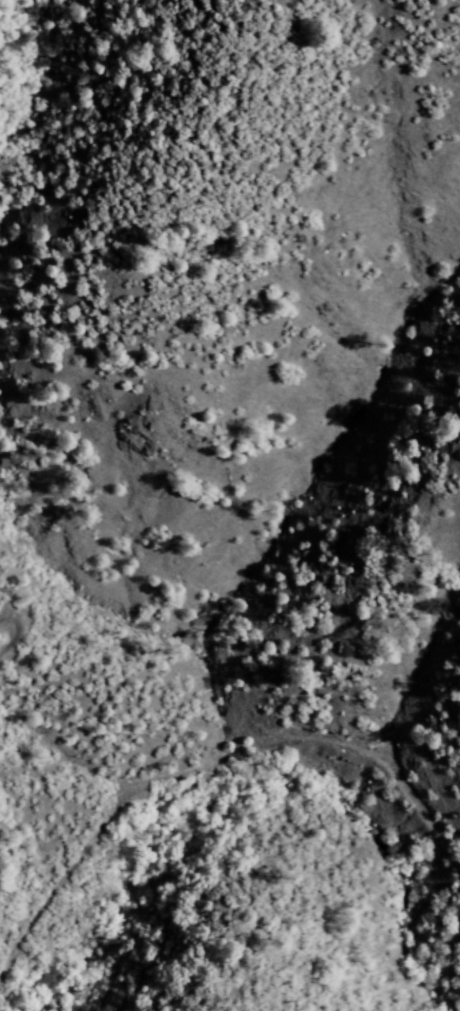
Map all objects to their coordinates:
road: (201, 800)

